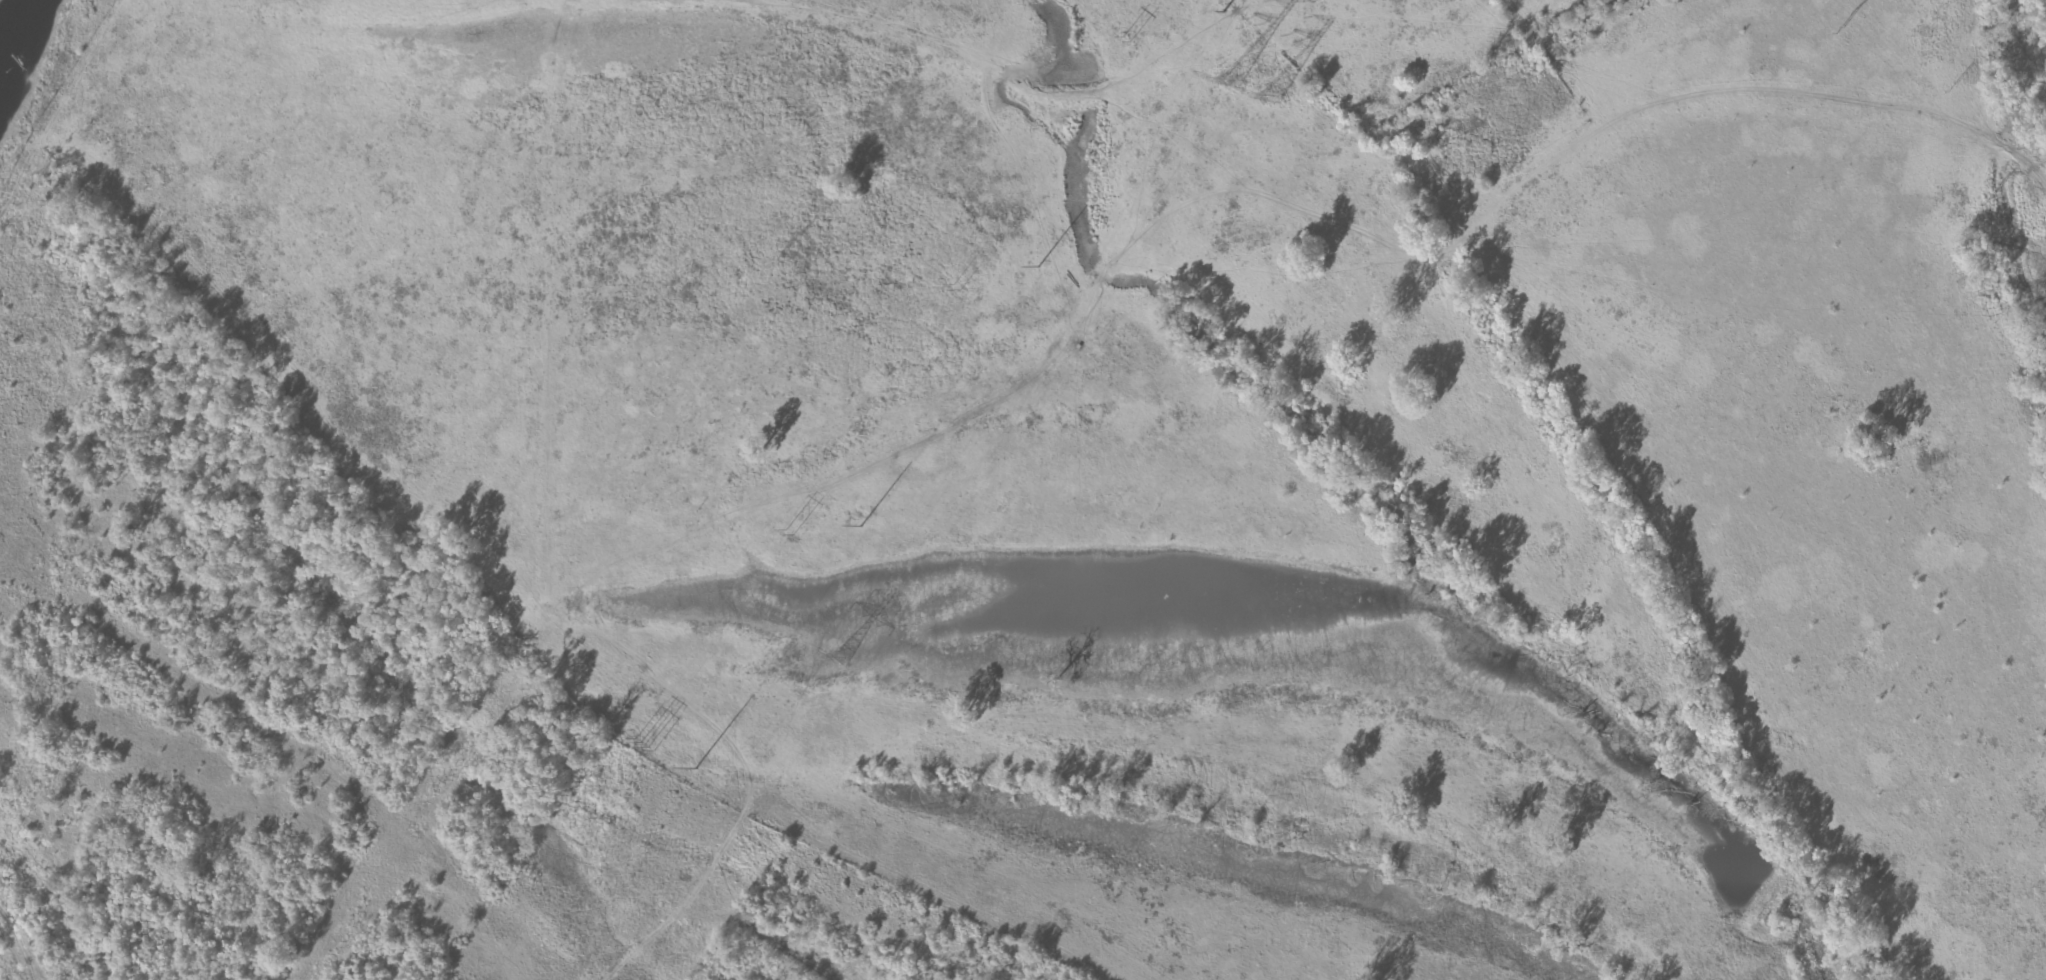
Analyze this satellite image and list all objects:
power tower: (1222, 12)
power tower: (1842, 30)
power tower: (1129, 41)
power tower: (1235, 75)
power tower: (1988, 200)
power tower: (1039, 267)
power tower: (861, 526)
power tower: (788, 532)
power tower: (845, 657)
power tower: (645, 745)
power tower: (695, 769)

